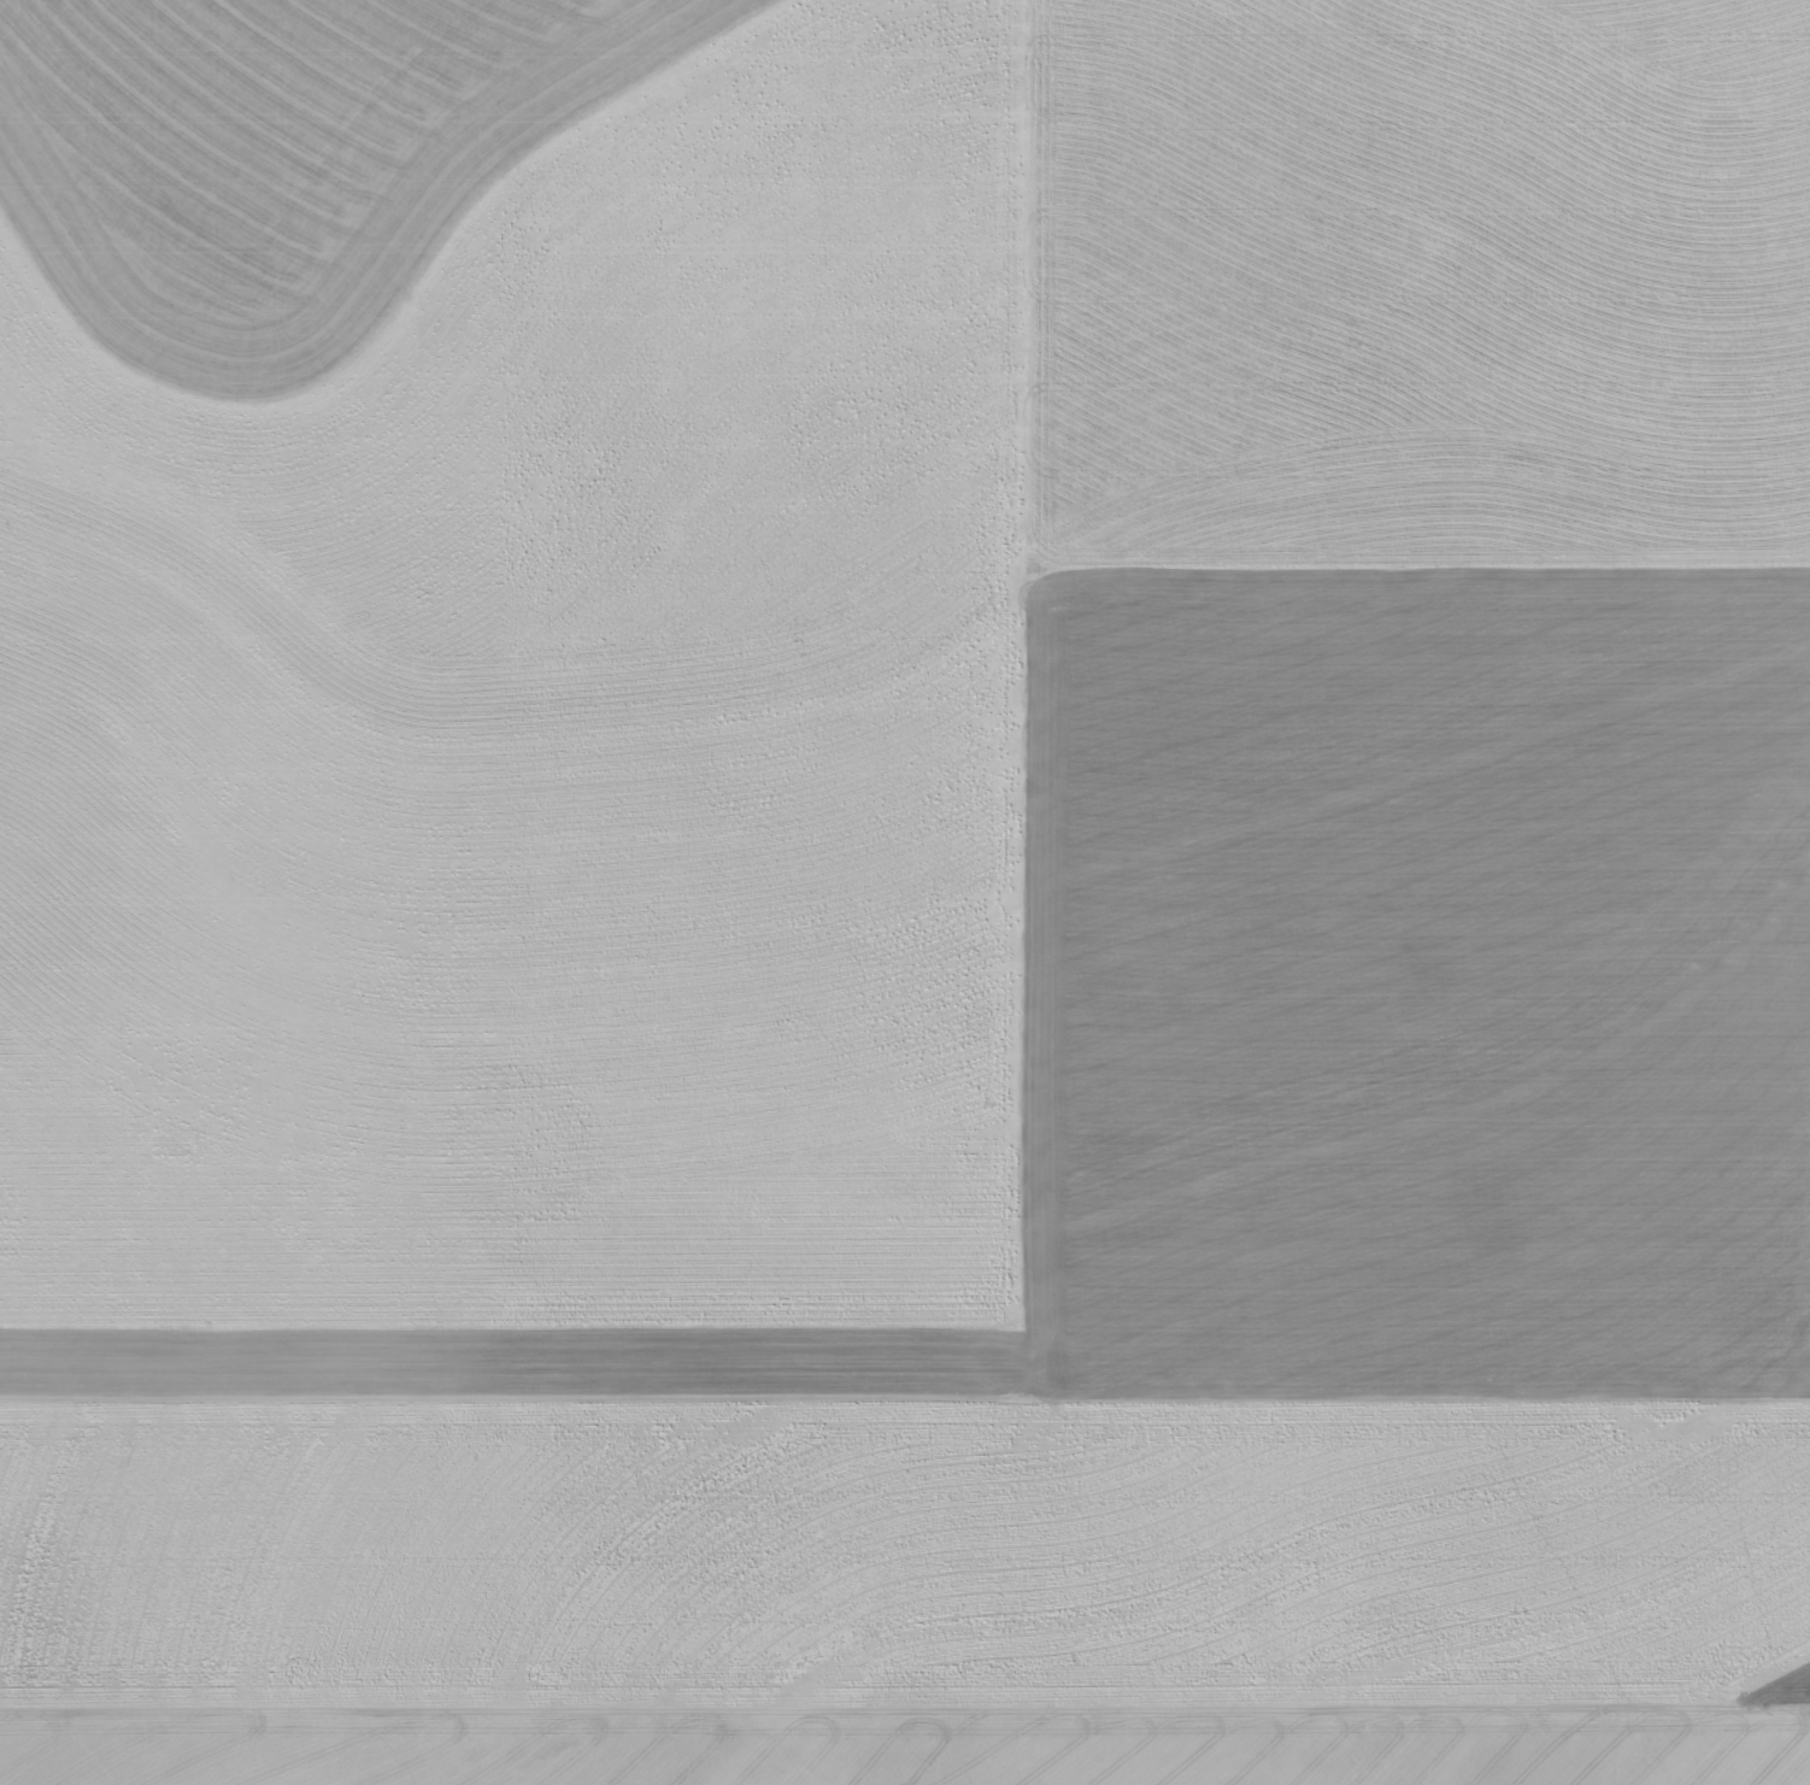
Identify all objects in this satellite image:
road: (1076, 1182)
road: (905, 1417)

